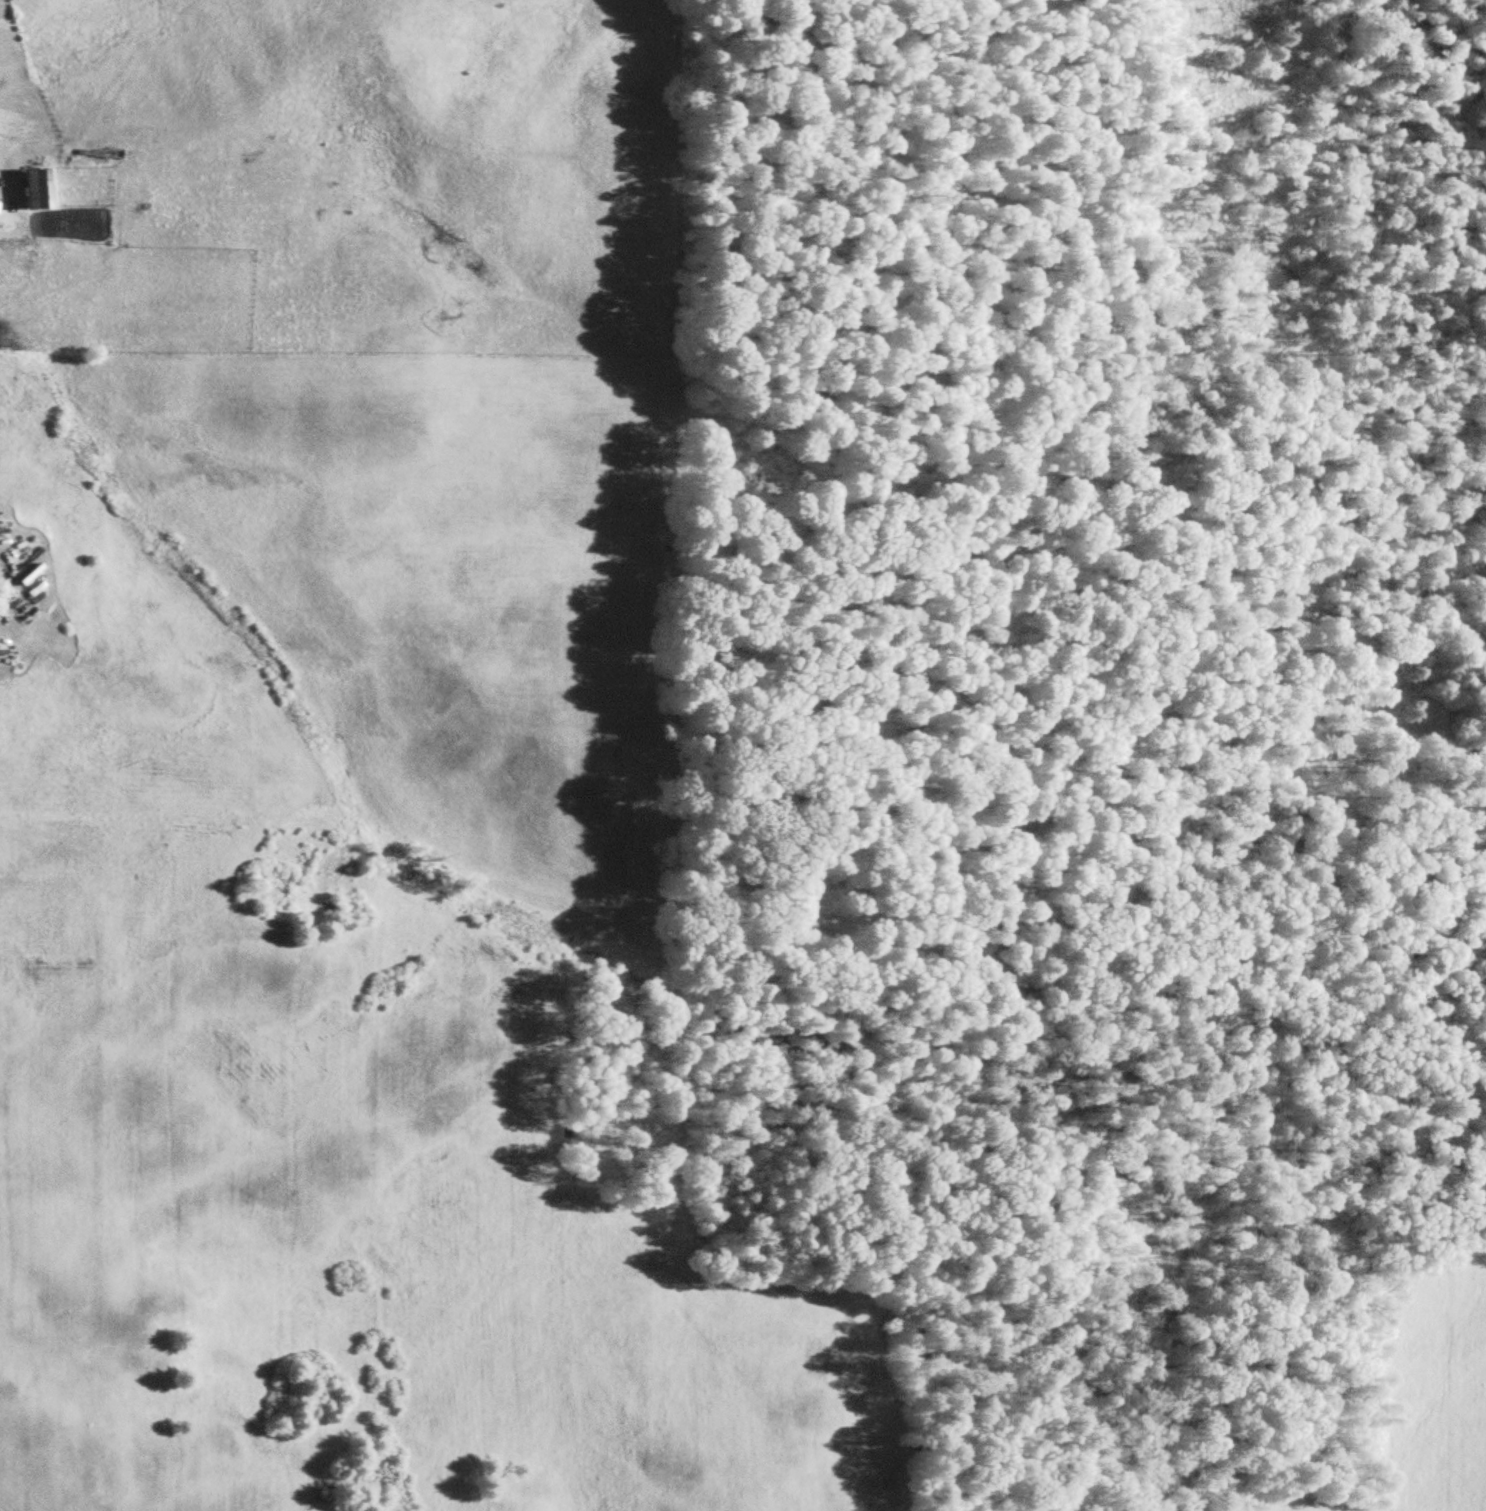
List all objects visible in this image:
building: (34, 188)

